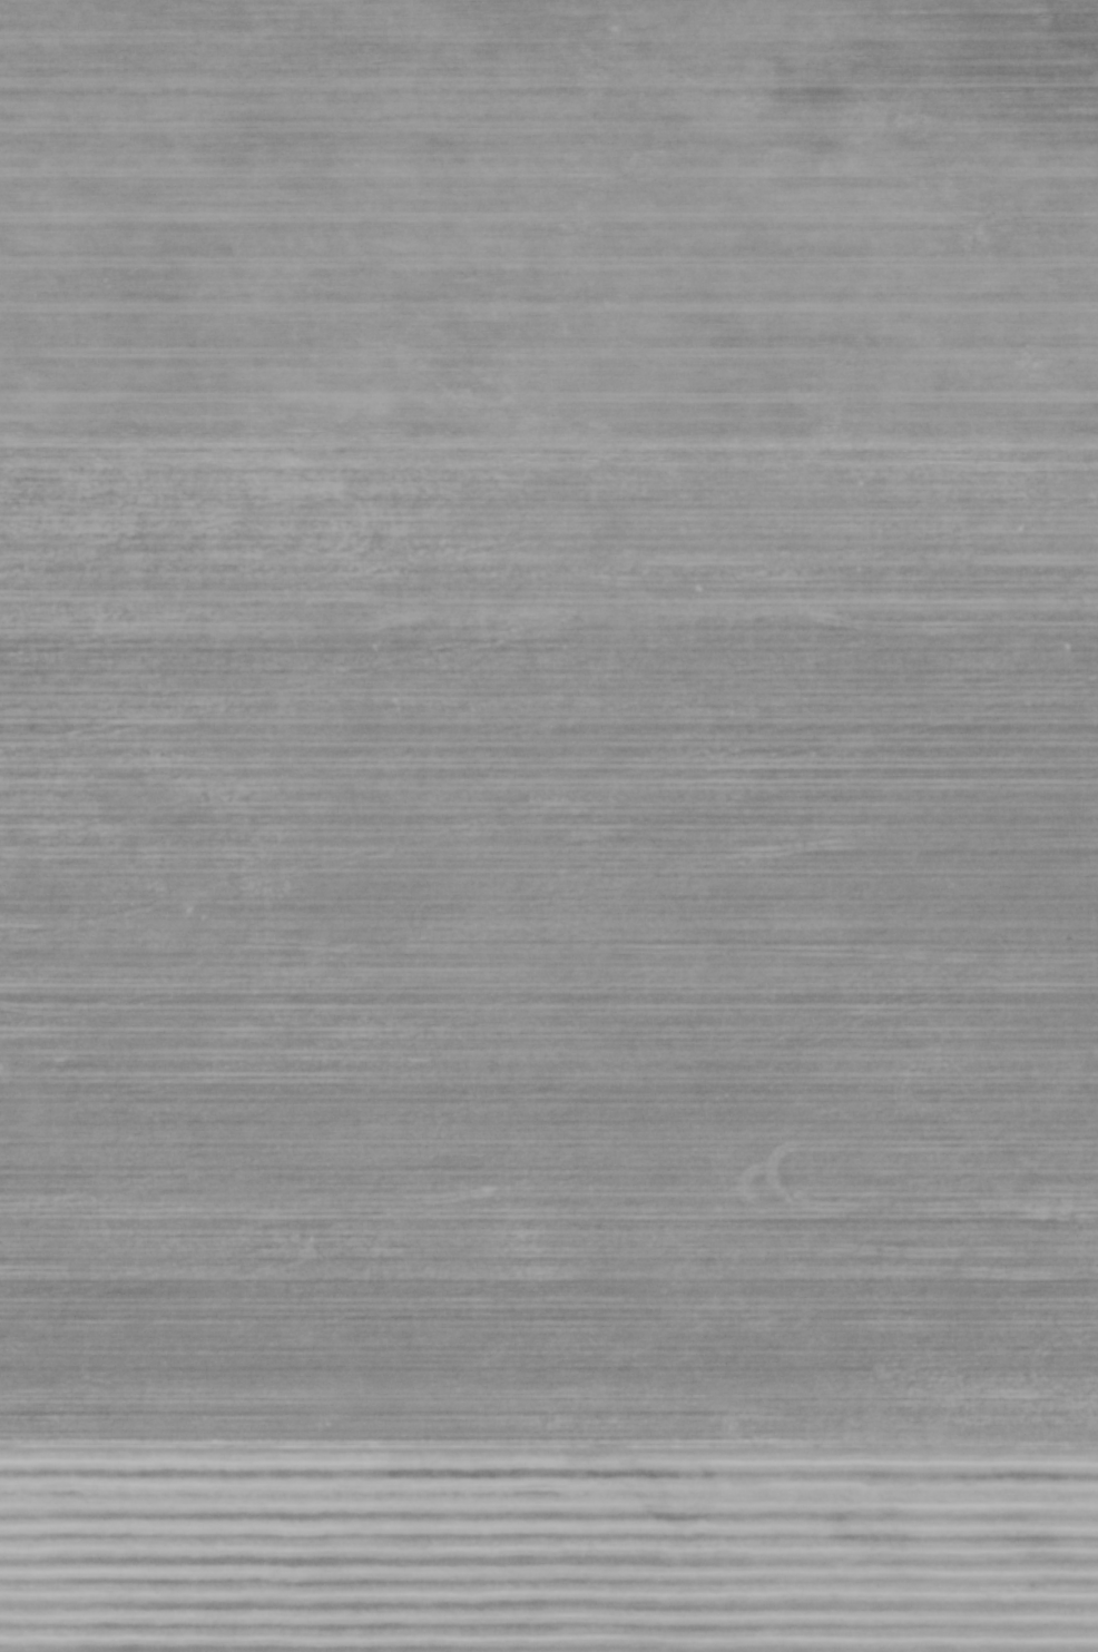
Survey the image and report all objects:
crop: (549, 826)

